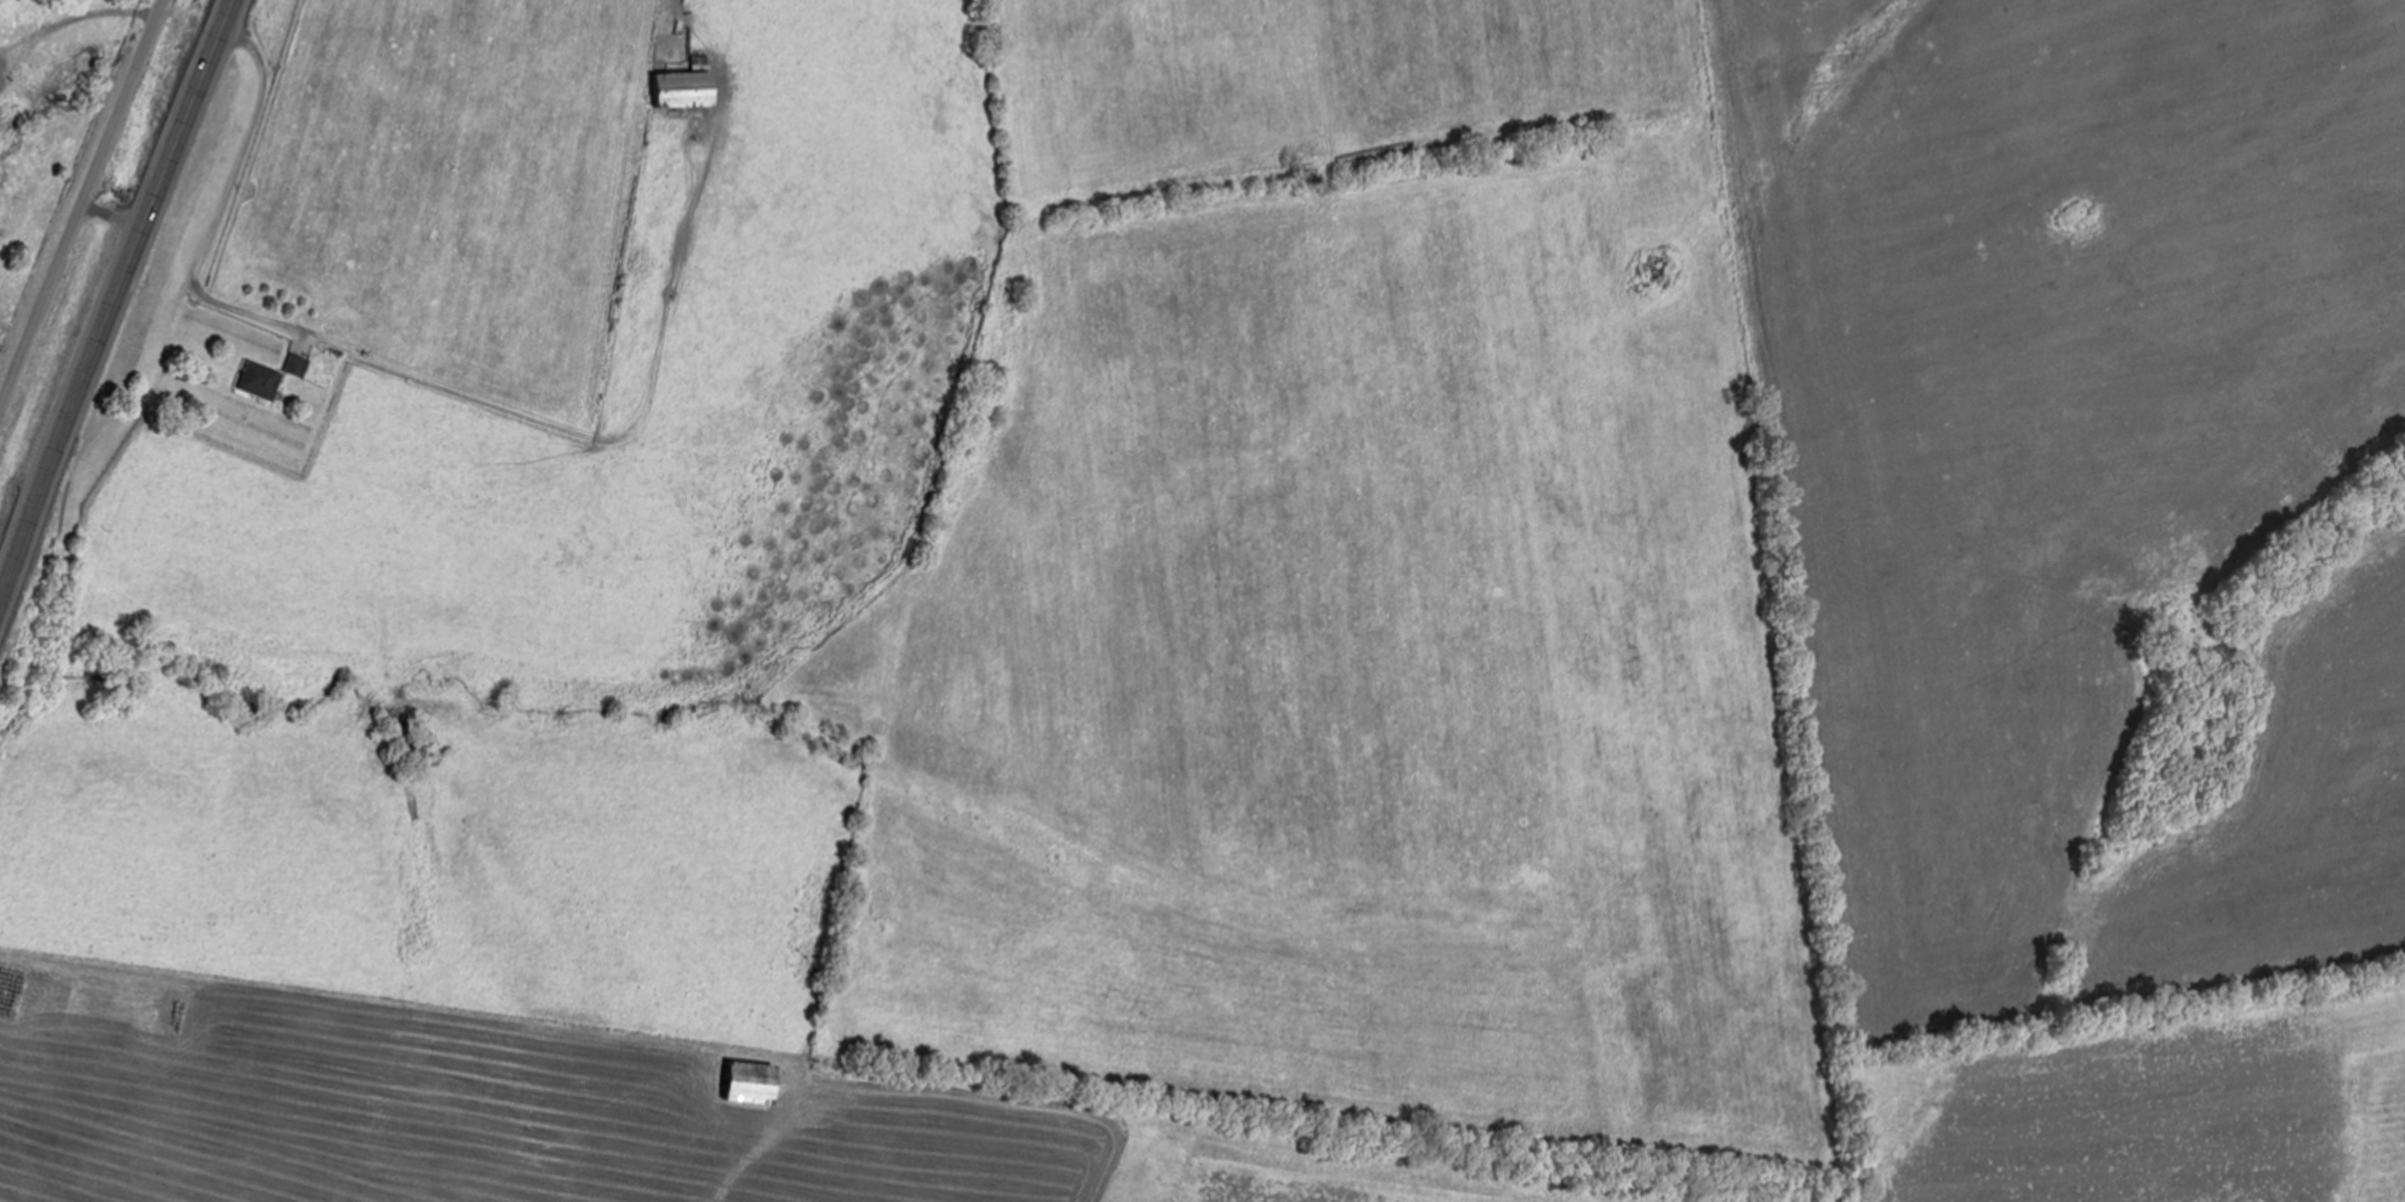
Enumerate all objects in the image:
building: (691, 88)
road: (81, 206)
road: (115, 295)
building: (299, 367)
building: (263, 382)
building: (758, 1082)

